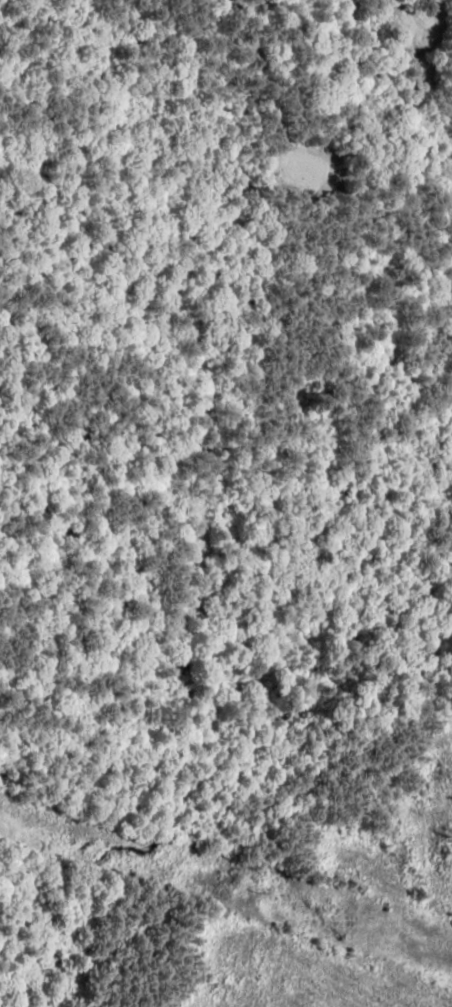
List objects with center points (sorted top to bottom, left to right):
power tower: (252, 893)

